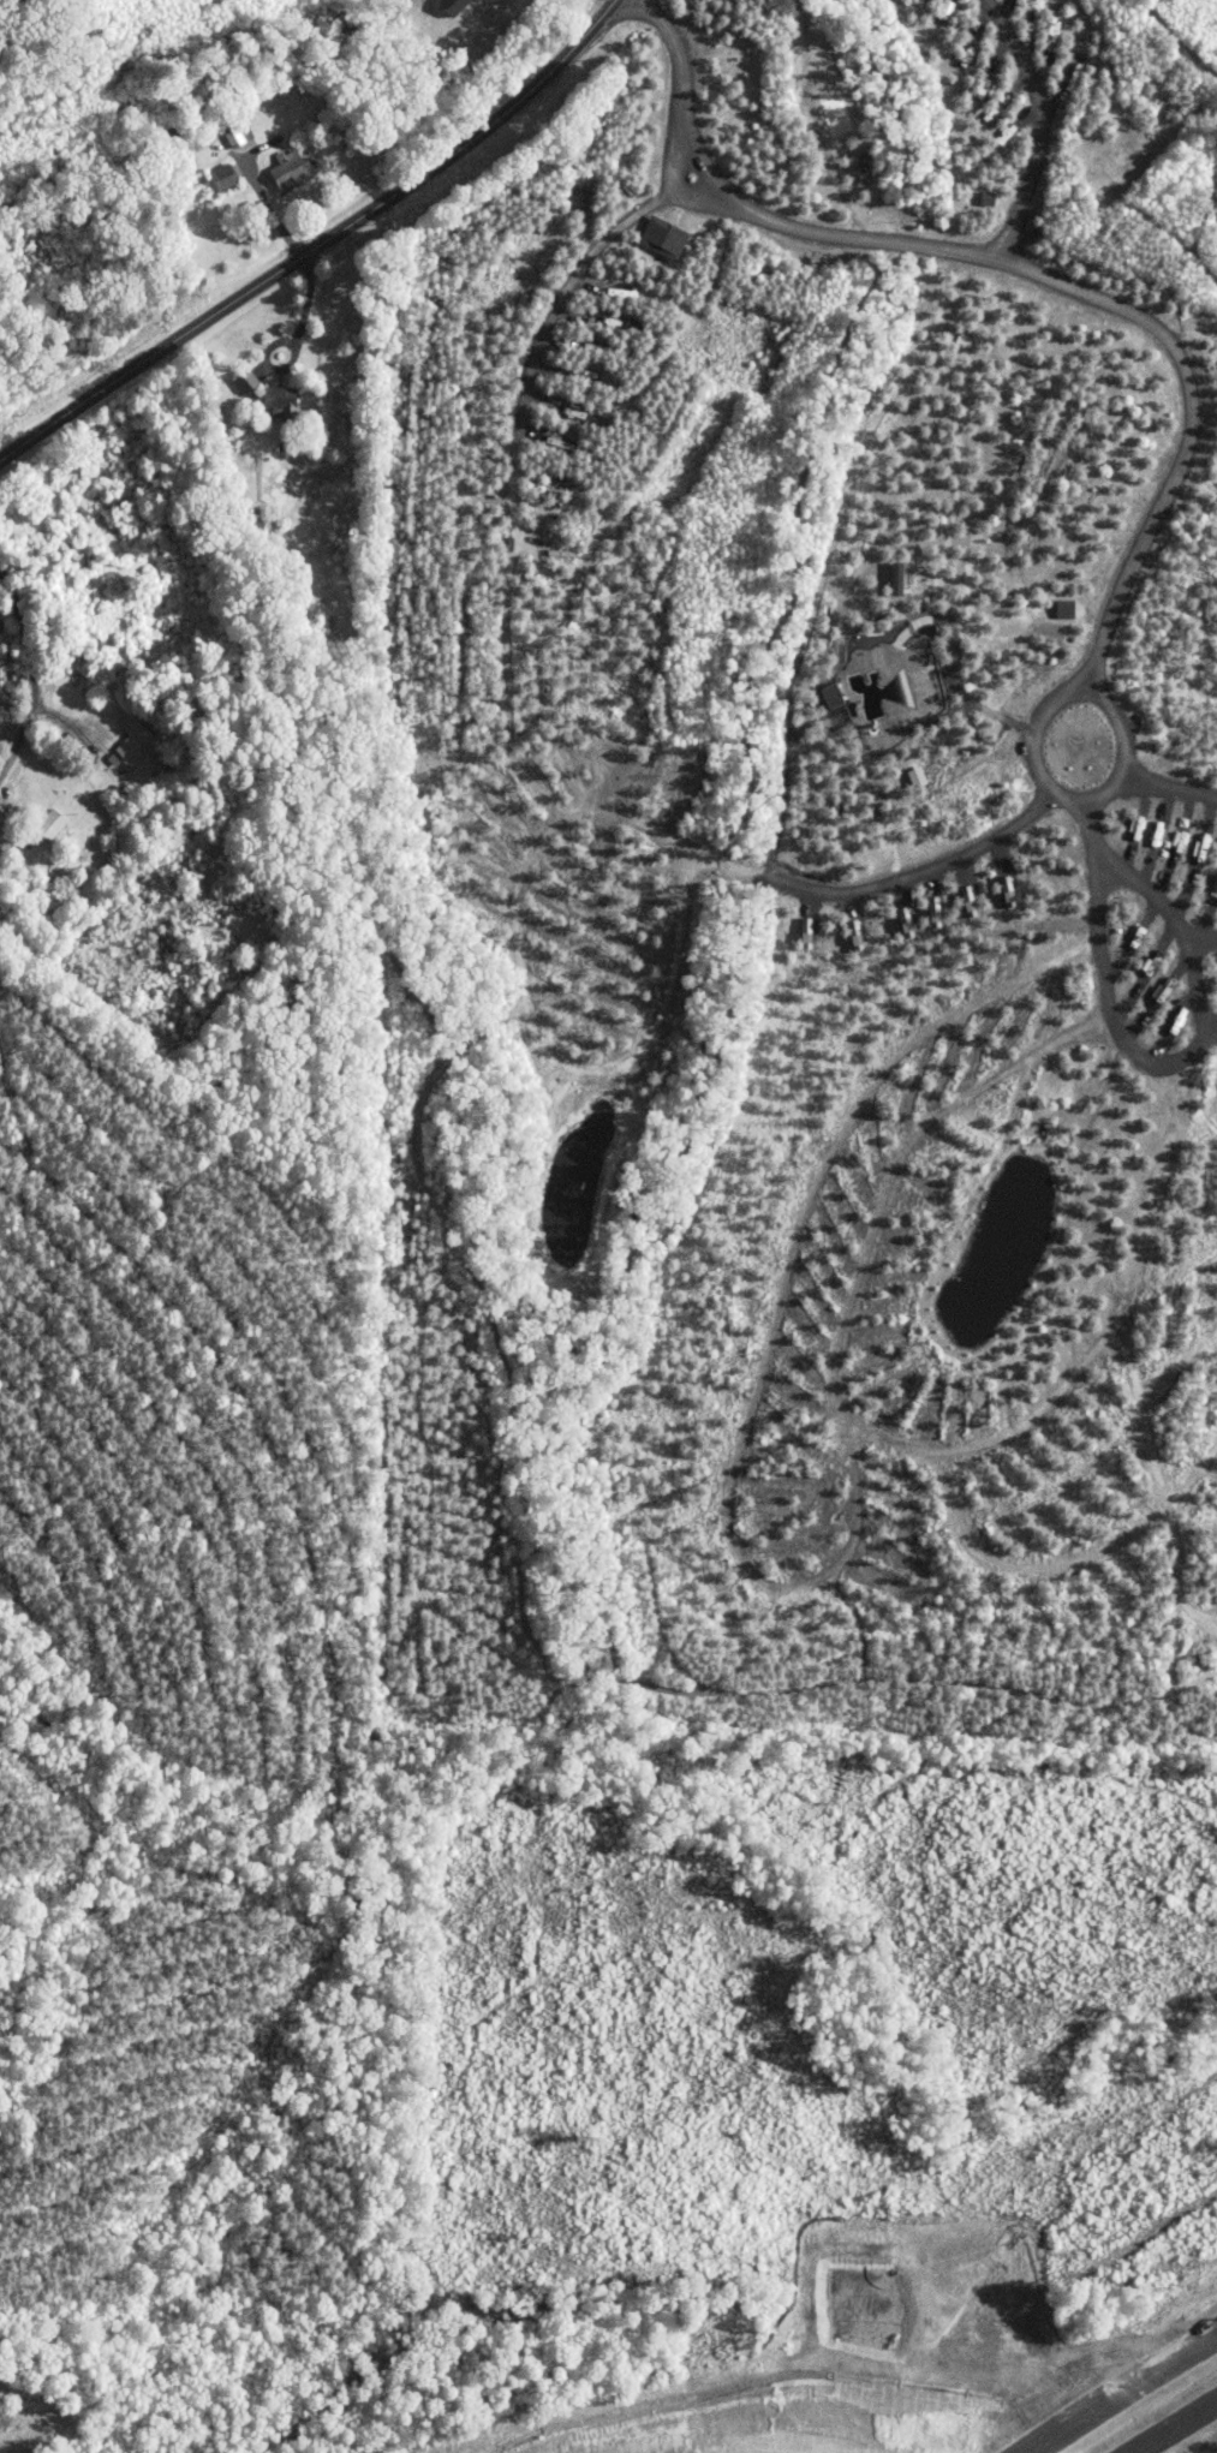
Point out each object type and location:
road: (610, 1)
building: (458, 5)
road: (5, 24)
road: (11, 24)
road: (1037, 127)
building: (239, 135)
building: (294, 168)
building: (225, 177)
road: (263, 197)
building: (667, 237)
road: (320, 244)
road: (548, 317)
road: (296, 348)
road: (1185, 376)
building: (249, 381)
building: (282, 399)
road: (948, 535)
building: (899, 577)
building: (1068, 608)
road: (41, 676)
building: (834, 694)
building: (135, 738)
building: (54, 822)
road: (1097, 879)
building: (1216, 885)
building: (1012, 890)
building: (972, 900)
building: (938, 911)
building: (909, 920)
road: (1180, 929)
building: (810, 931)
building: (859, 933)
road: (1201, 937)
building: (1161, 996)
road: (1122, 2393)
road: (1171, 2424)

